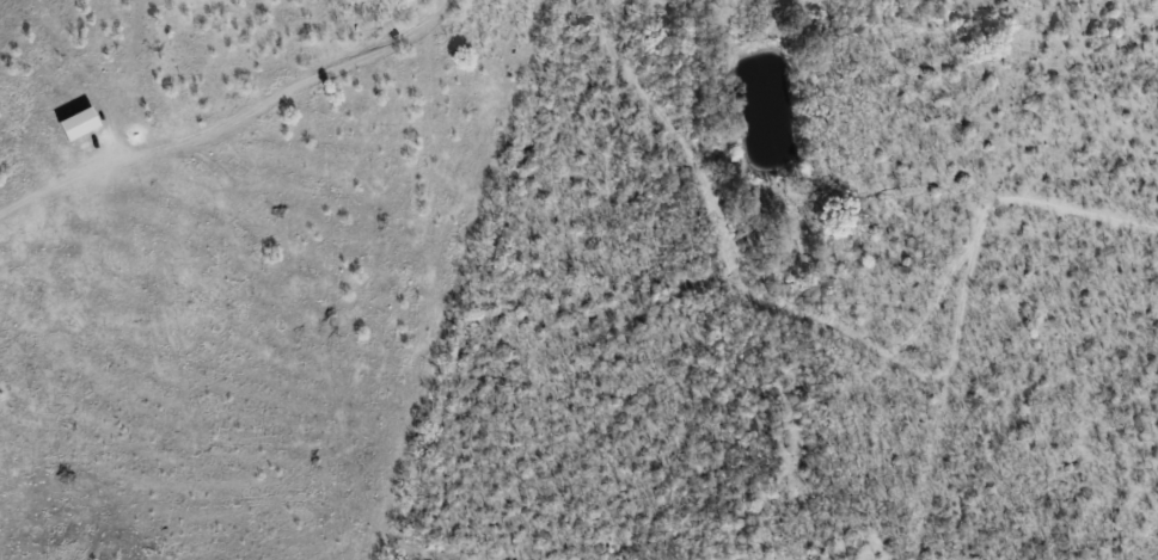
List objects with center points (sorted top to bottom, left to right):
building: (76, 123)
road: (54, 187)

